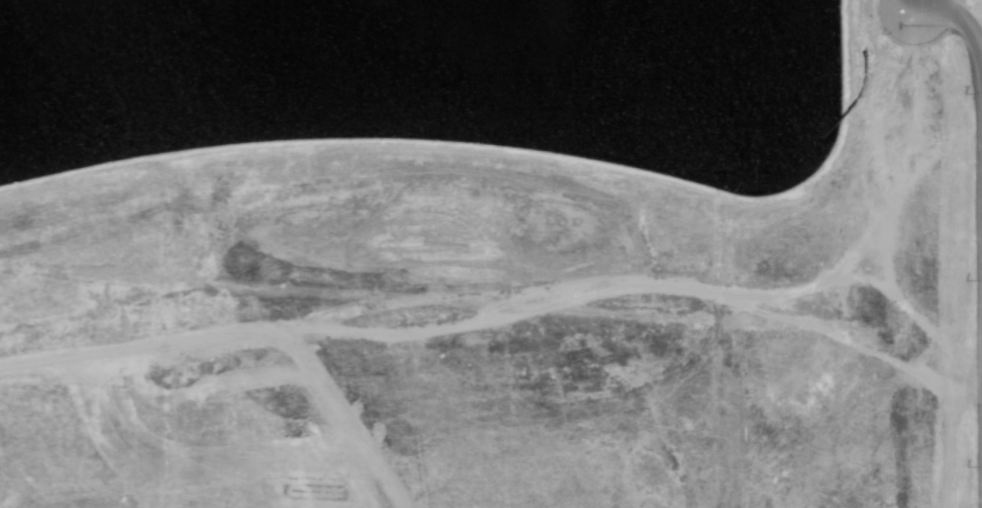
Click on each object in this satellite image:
road: (907, 2)
road: (965, 33)

